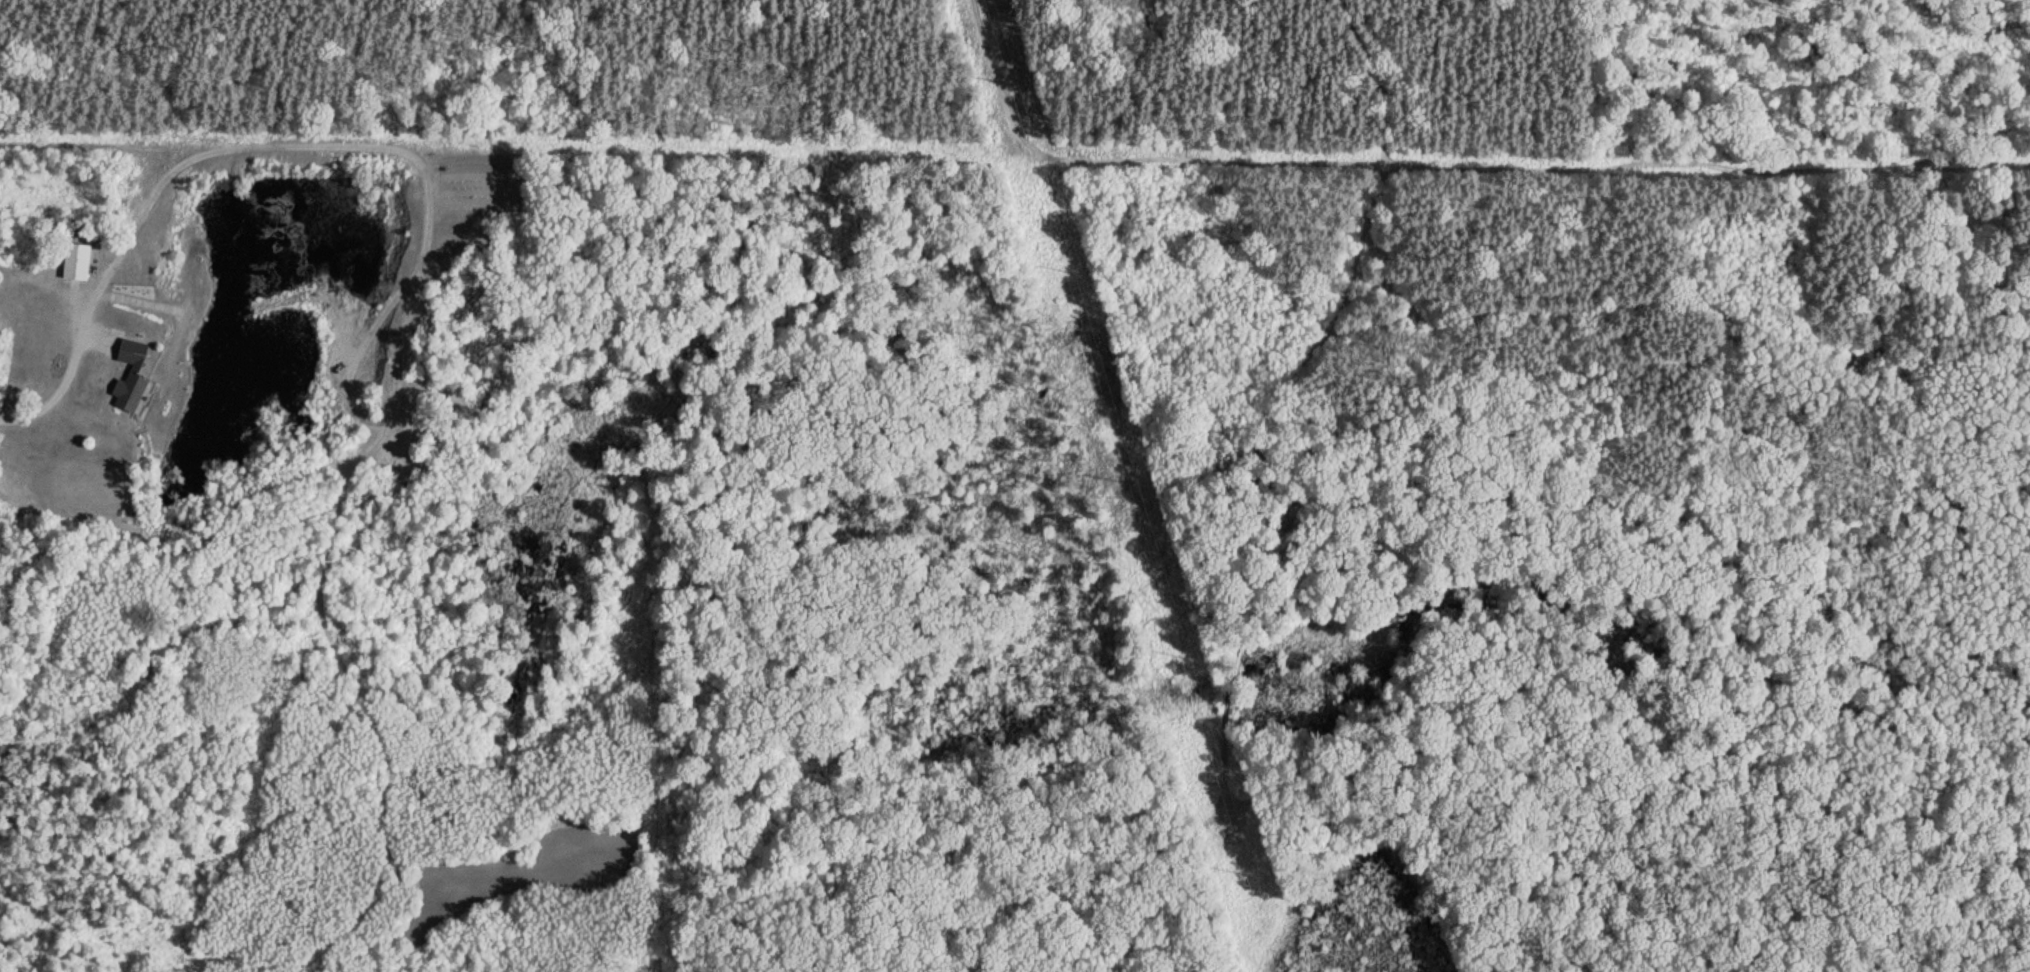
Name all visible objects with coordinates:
road: (1756, 34)
road: (1005, 76)
road: (1529, 166)
building: (76, 260)
road: (413, 318)
road: (1351, 337)
road: (1885, 353)
building: (126, 371)
road: (1289, 402)
road: (1229, 698)
building: (523, 853)

